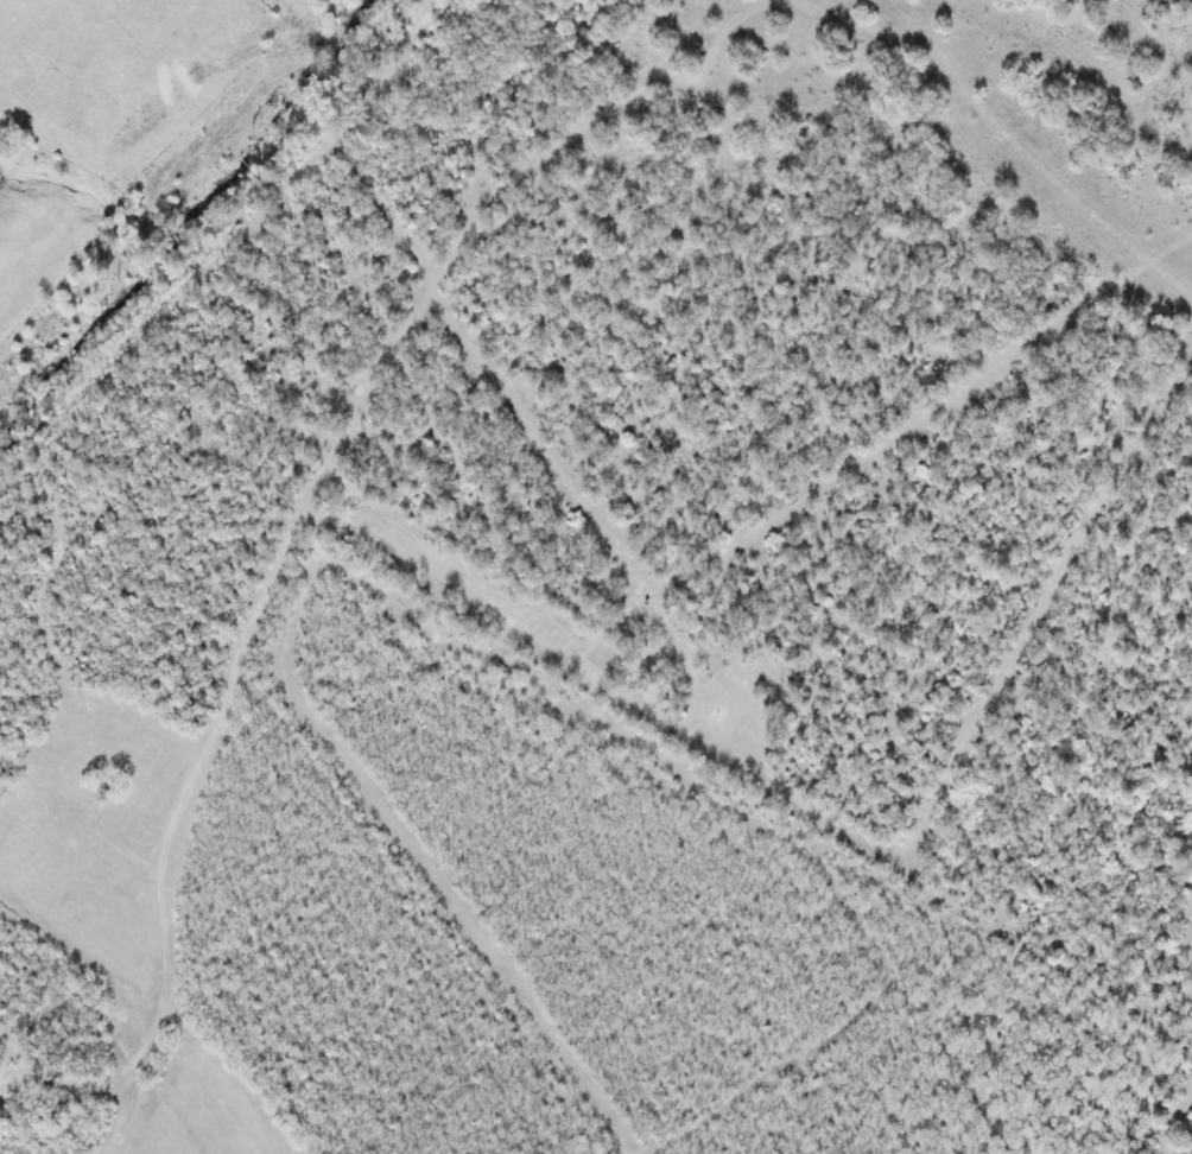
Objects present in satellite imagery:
road: (183, 1069)

